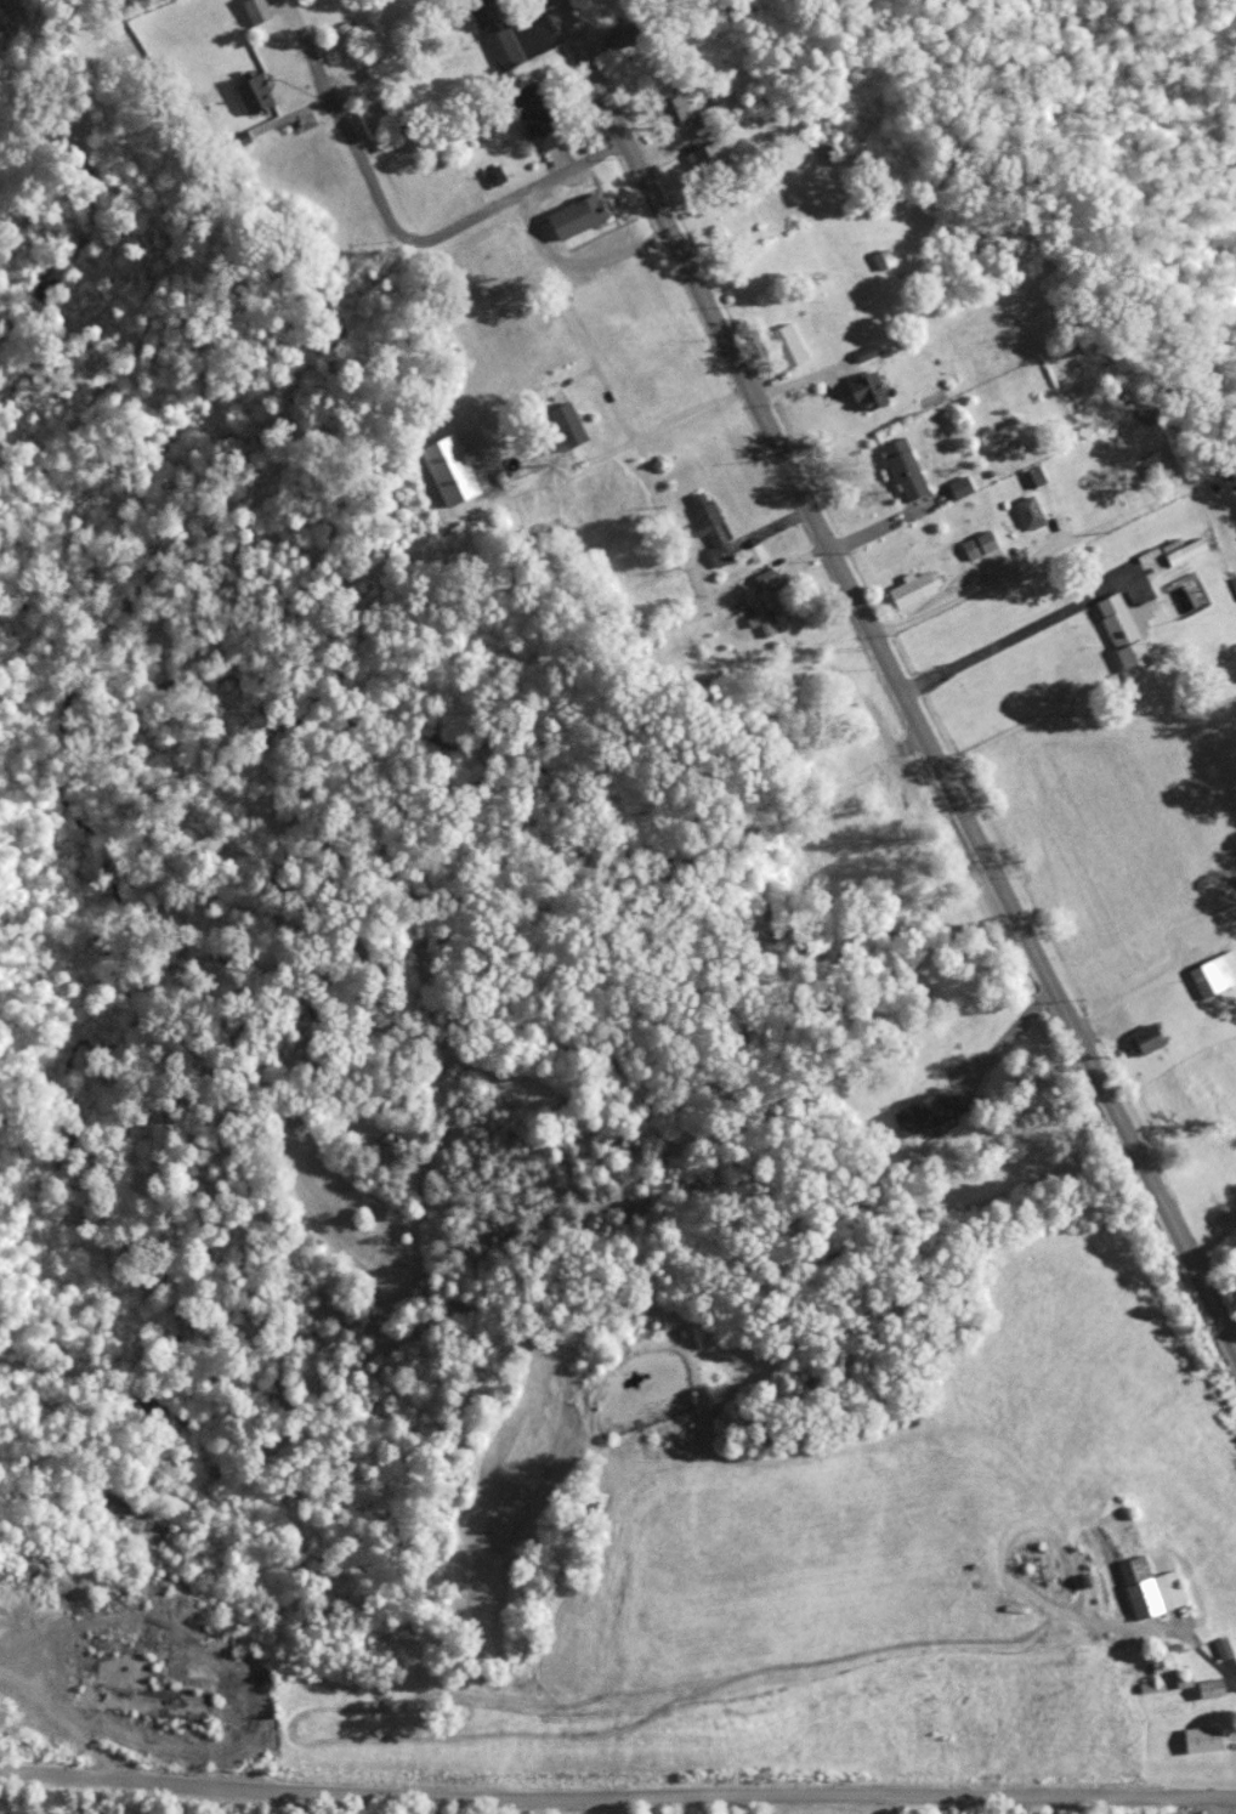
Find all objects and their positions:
building: (251, 10)
building: (346, 29)
building: (492, 33)
building: (628, 35)
building: (379, 69)
building: (246, 90)
building: (674, 107)
building: (534, 118)
building: (242, 141)
building: (705, 153)
building: (498, 175)
building: (569, 214)
road: (393, 225)
building: (879, 257)
road: (572, 263)
building: (782, 344)
building: (862, 390)
road: (614, 402)
building: (561, 423)
road: (658, 431)
building: (446, 467)
building: (900, 467)
building: (1036, 478)
building: (956, 486)
building: (1031, 515)
road: (772, 527)
road: (879, 528)
building: (709, 533)
building: (980, 546)
road: (806, 563)
building: (908, 589)
road: (971, 590)
road: (1026, 623)
building: (1121, 628)
road: (889, 668)
building: (840, 684)
building: (1213, 973)
building: (1149, 1042)
building: (923, 1115)
building: (594, 1504)
building: (1149, 1588)
building: (1218, 1648)
building: (1224, 1649)
road: (1232, 1677)
building: (132, 1689)
building: (1209, 1689)
building: (1202, 1740)
road: (617, 1798)
road: (608, 1807)

